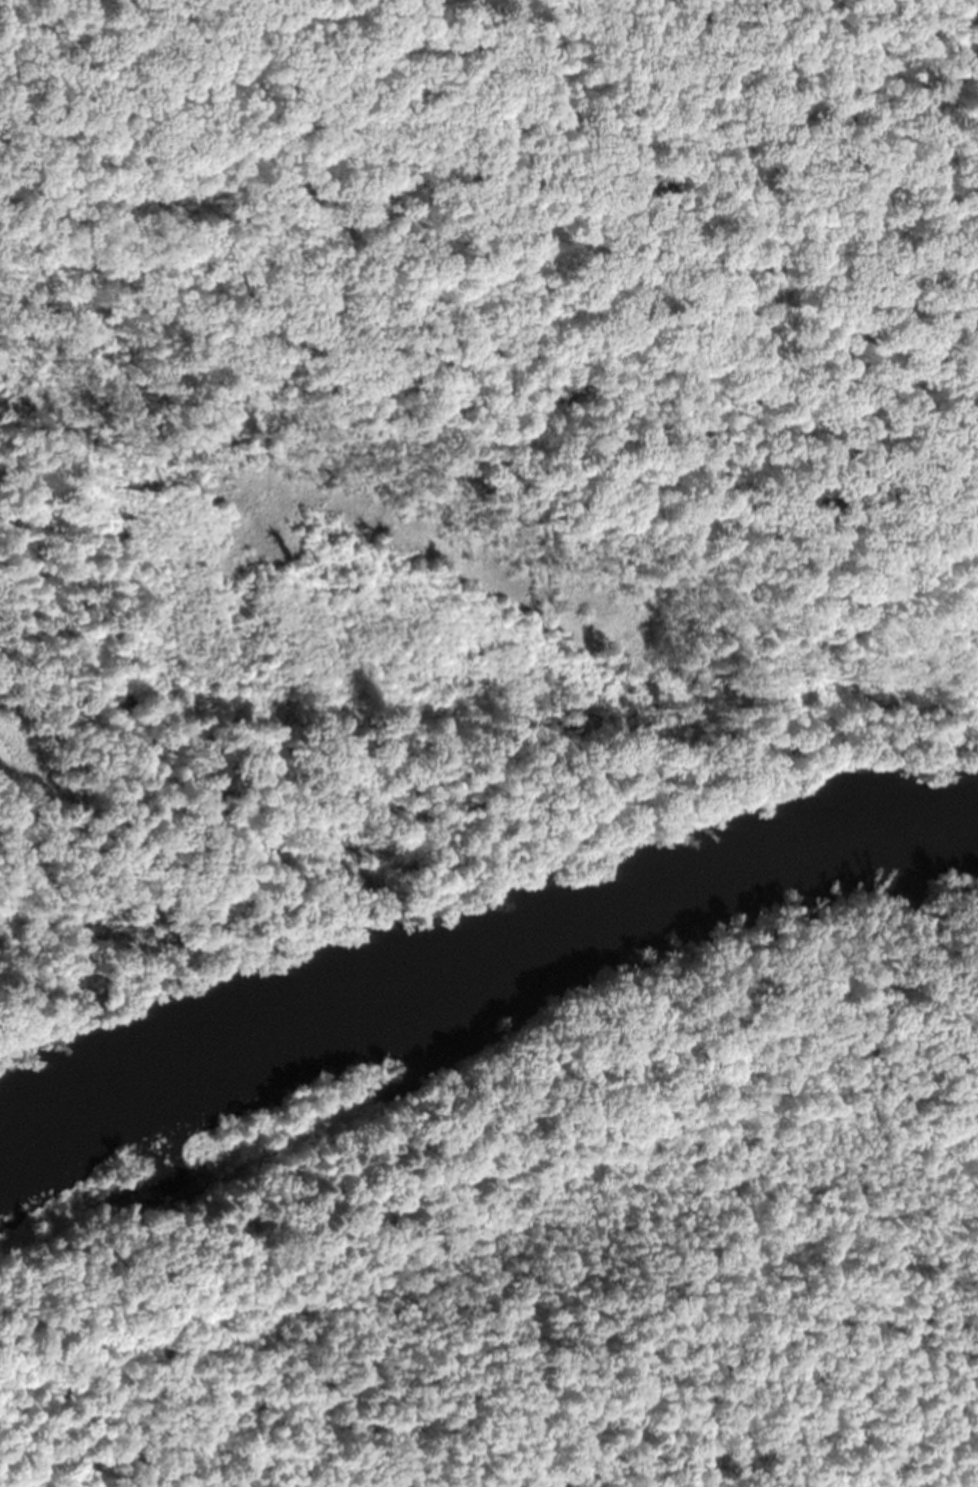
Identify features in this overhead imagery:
river: (478, 944)

